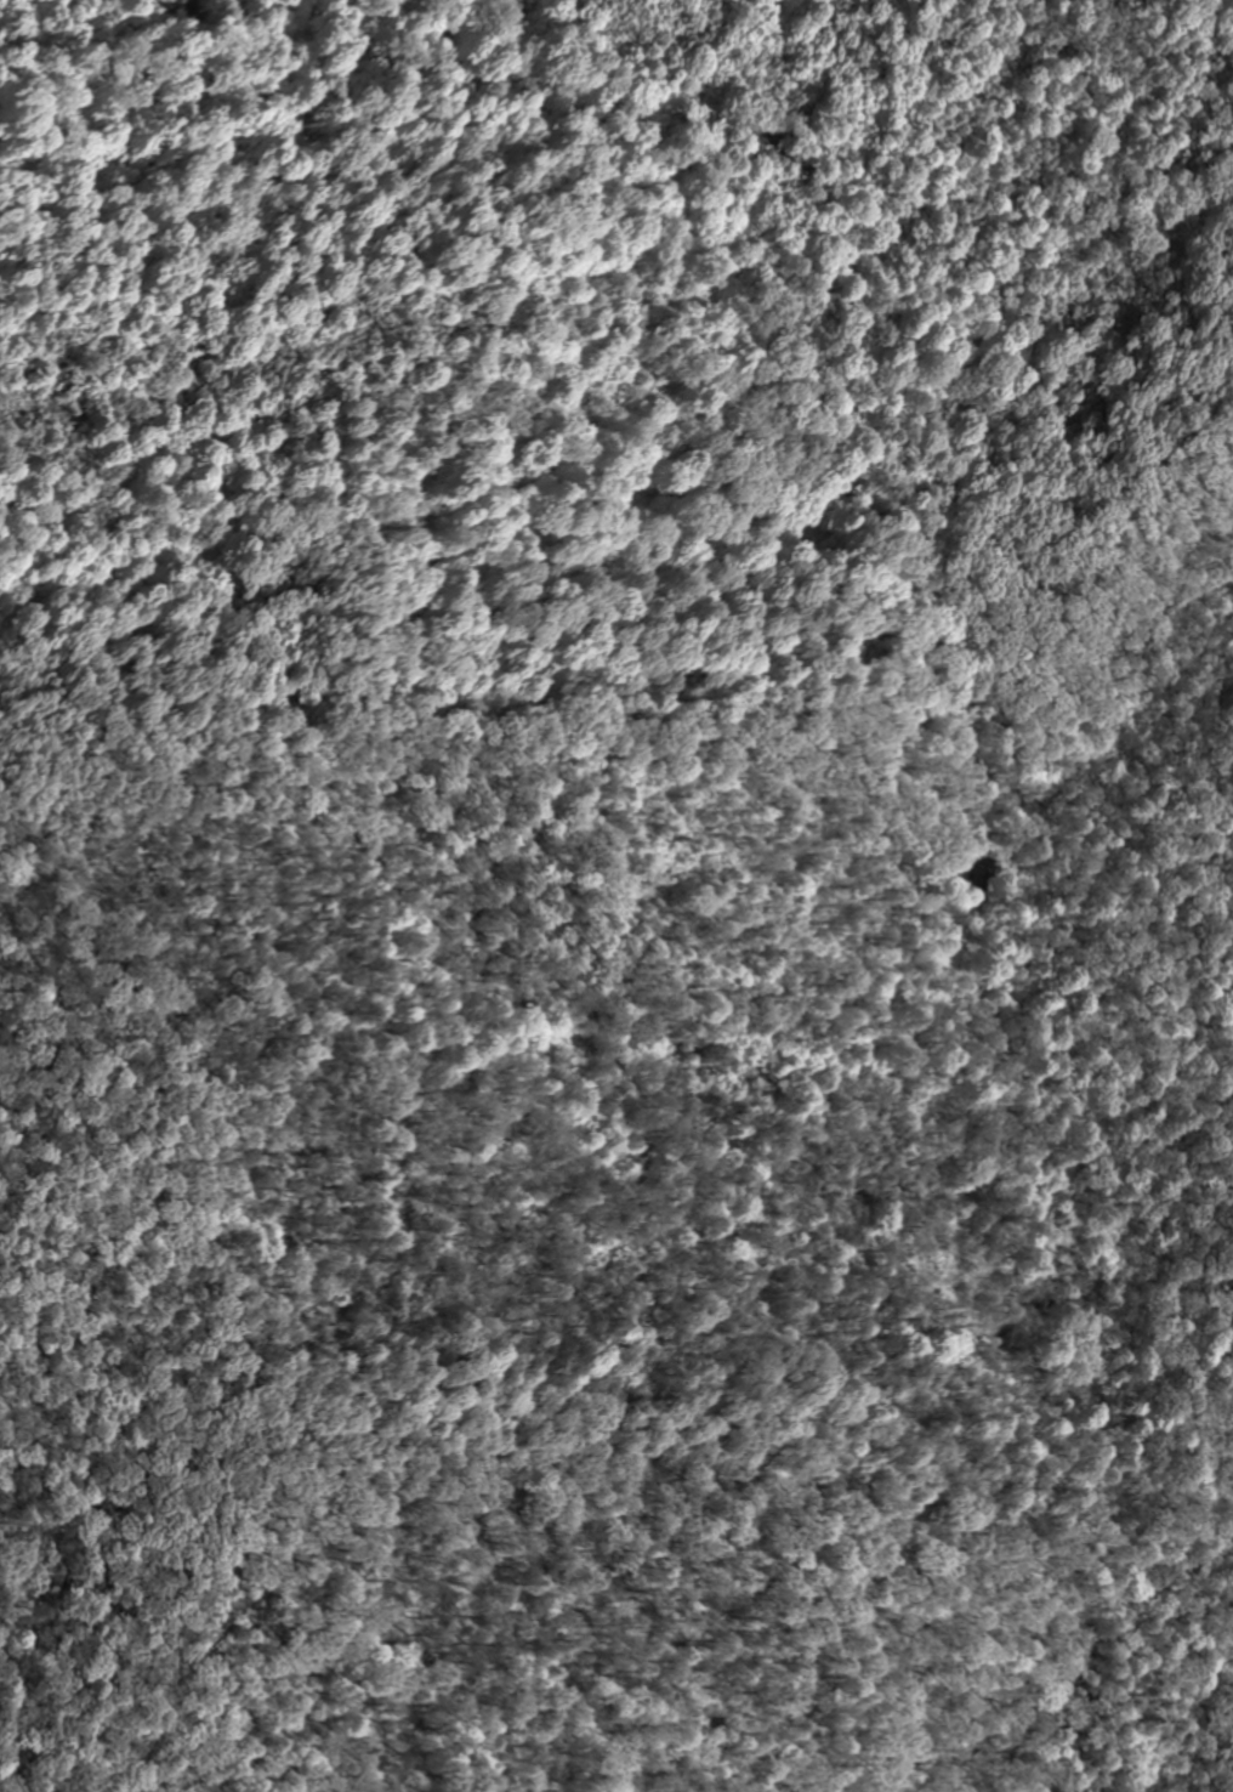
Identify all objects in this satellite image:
road: (670, 1102)

